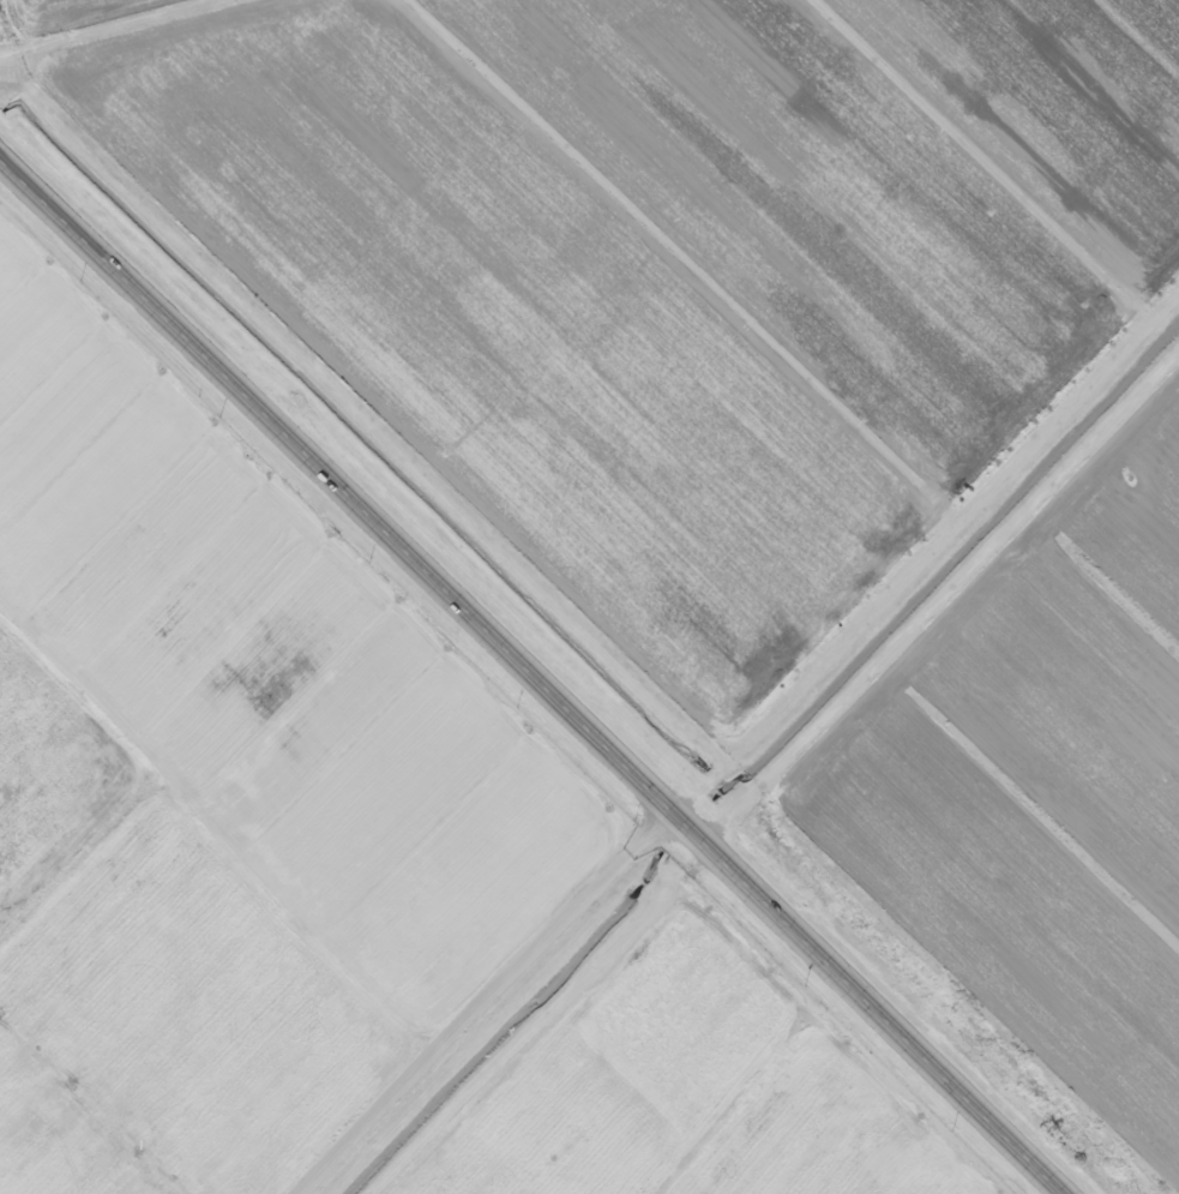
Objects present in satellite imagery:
road: (932, 559)
road: (948, 608)
road: (534, 676)
road: (487, 1003)

